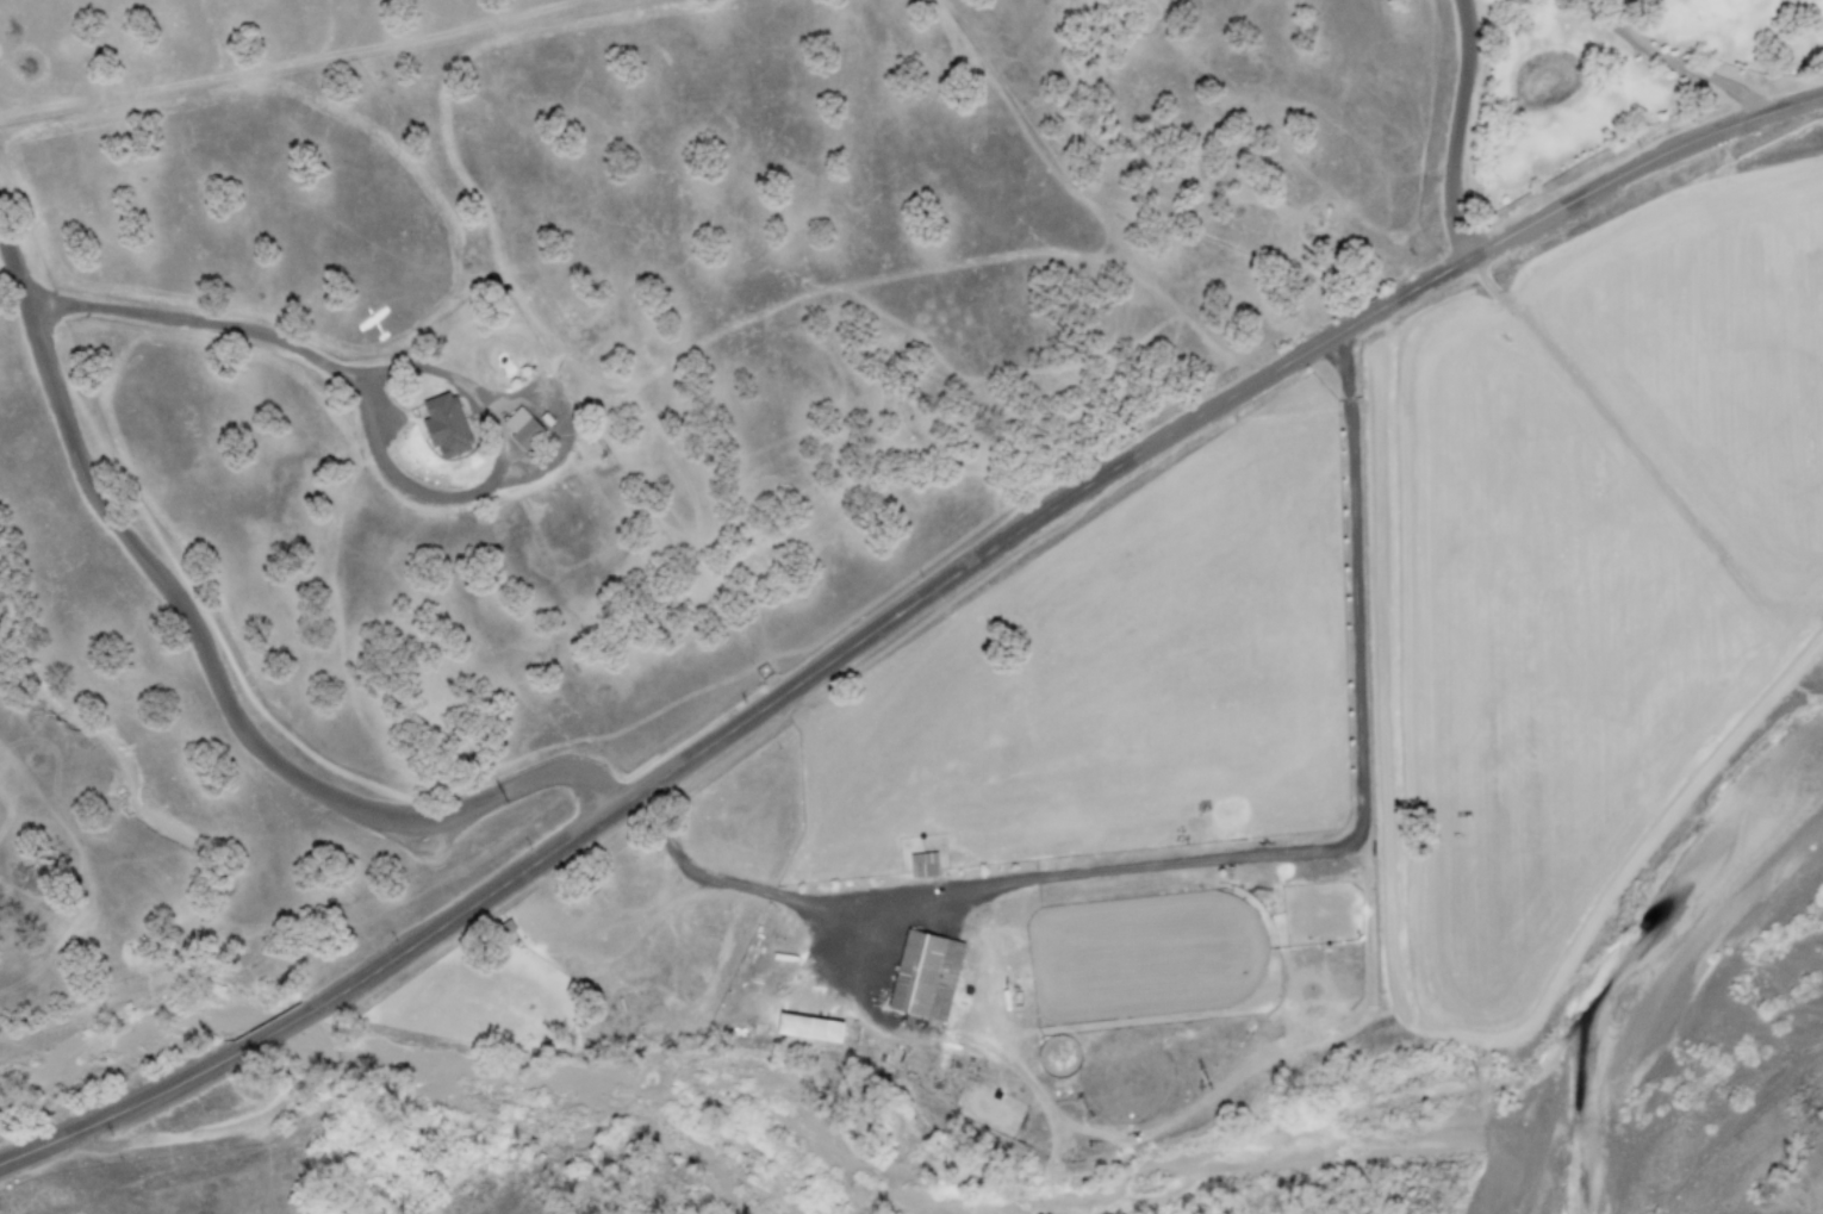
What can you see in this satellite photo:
road: (1609, 6)
road: (1670, 62)
road: (1455, 131)
building: (449, 424)
building: (524, 427)
road: (1618, 430)
road: (1050, 509)
road: (211, 670)
building: (917, 863)
river: (1674, 967)
building: (920, 973)
river: (286, 1026)
road: (281, 1027)
building: (802, 1027)
river: (130, 1038)
river: (547, 1104)
road: (123, 1112)
river: (1309, 1125)
river: (1516, 1148)
river: (891, 1191)

